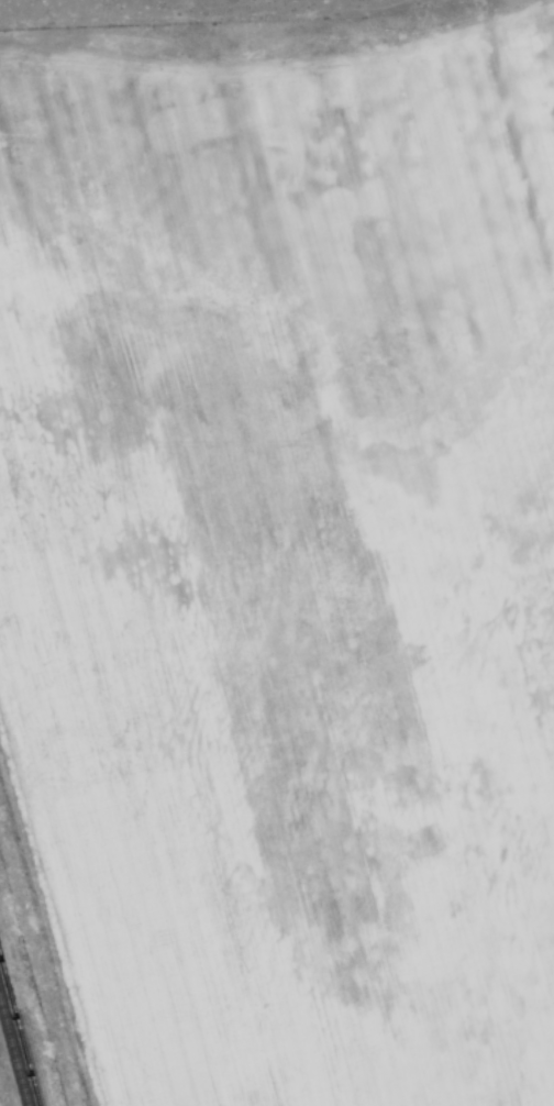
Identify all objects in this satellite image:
railway: (19, 1030)
railway: (12, 1058)

